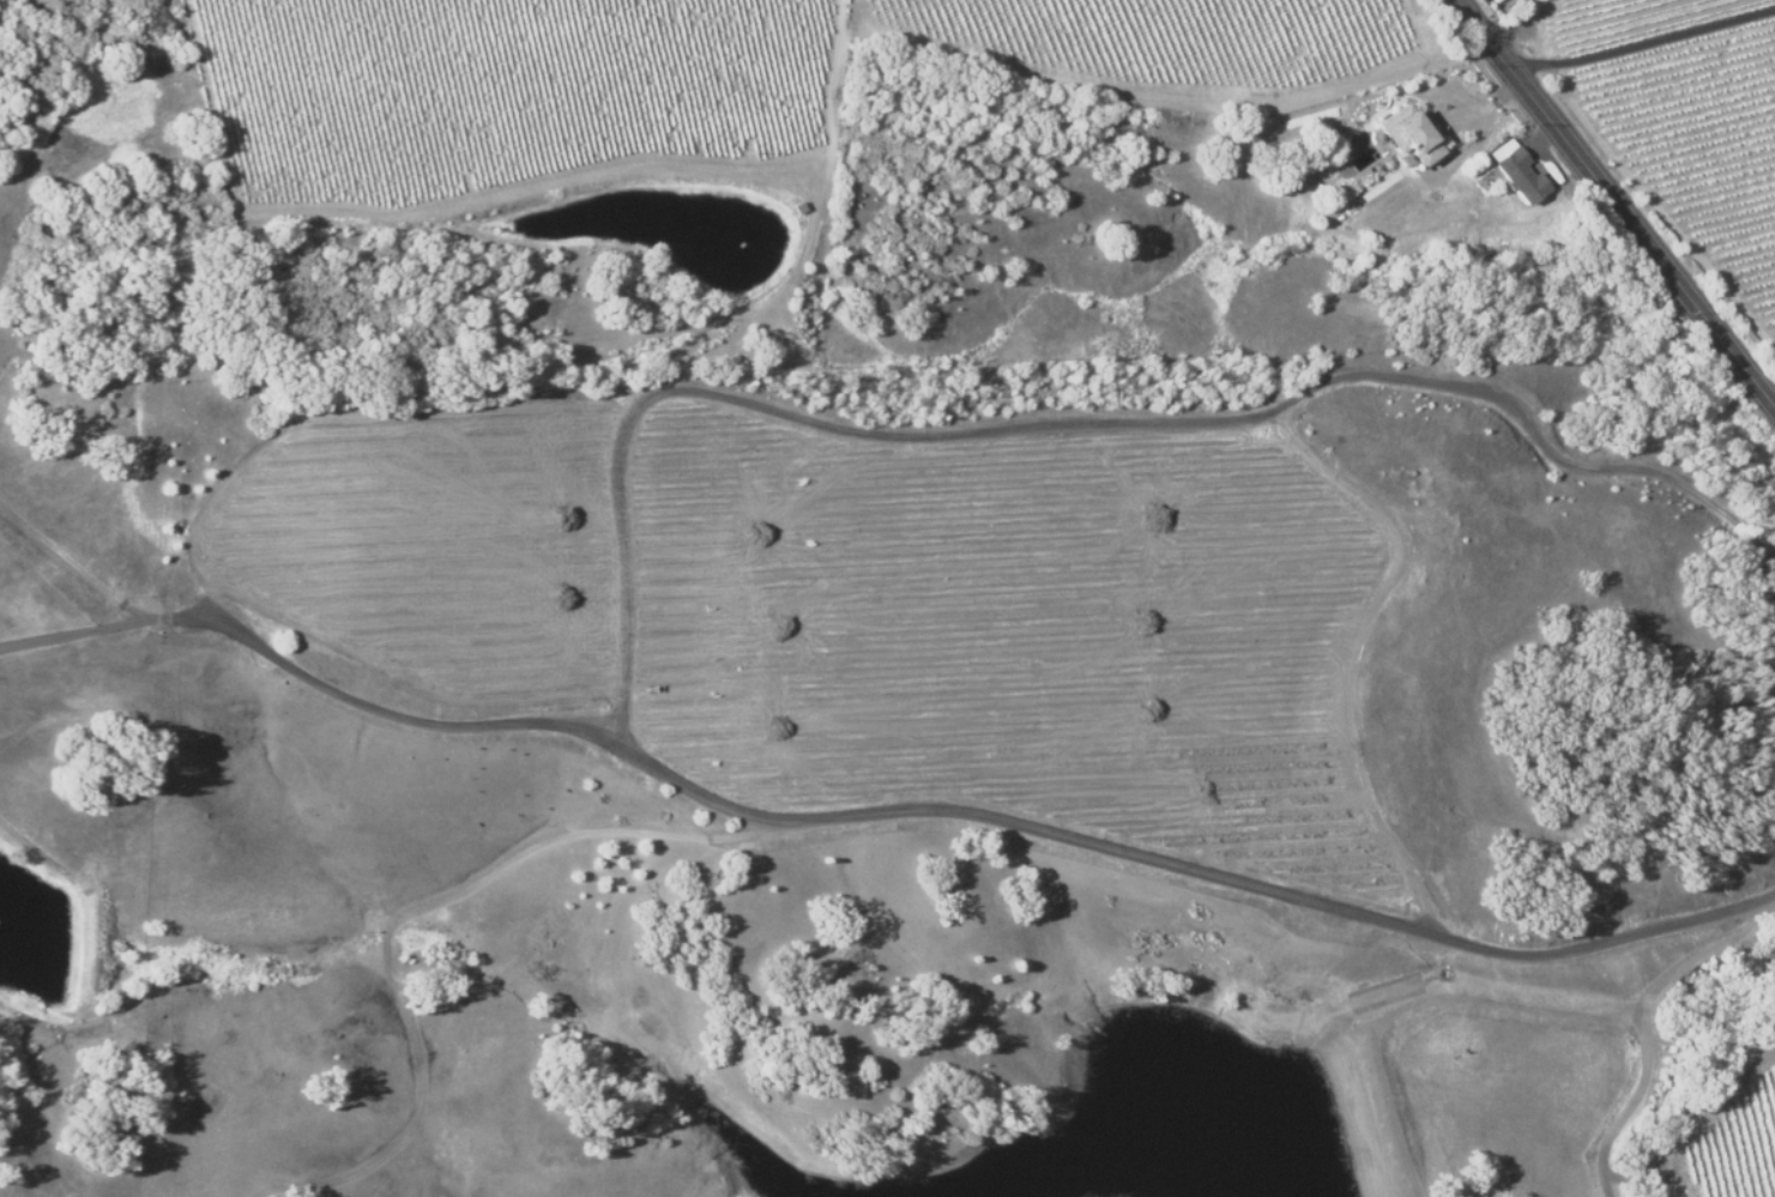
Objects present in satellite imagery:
road: (1542, 11)
road: (1517, 26)
road: (1646, 41)
building: (1407, 134)
road: (1478, 137)
building: (1515, 170)
road: (1618, 204)
road: (68, 558)
road: (881, 814)
road: (1715, 1120)

